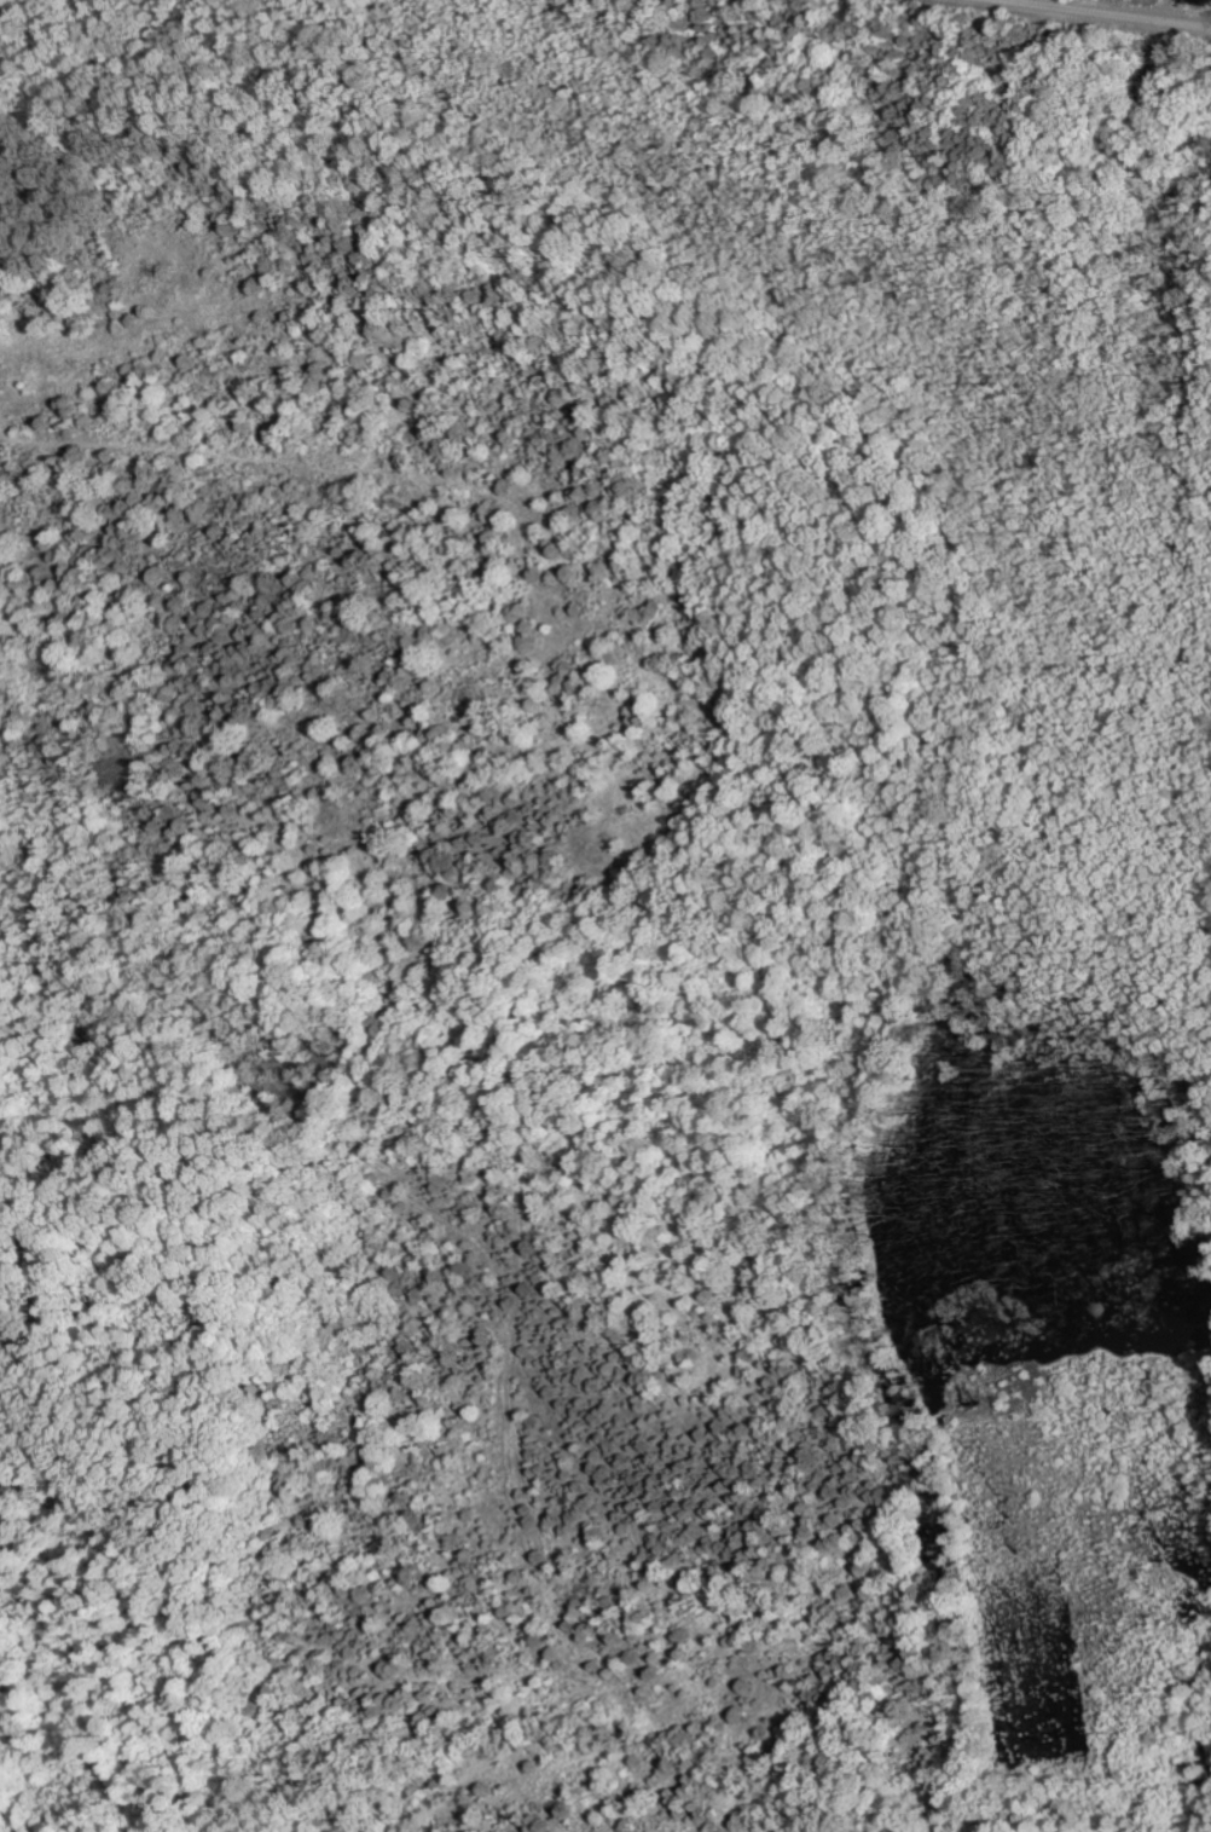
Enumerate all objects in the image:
road: (1109, 13)

